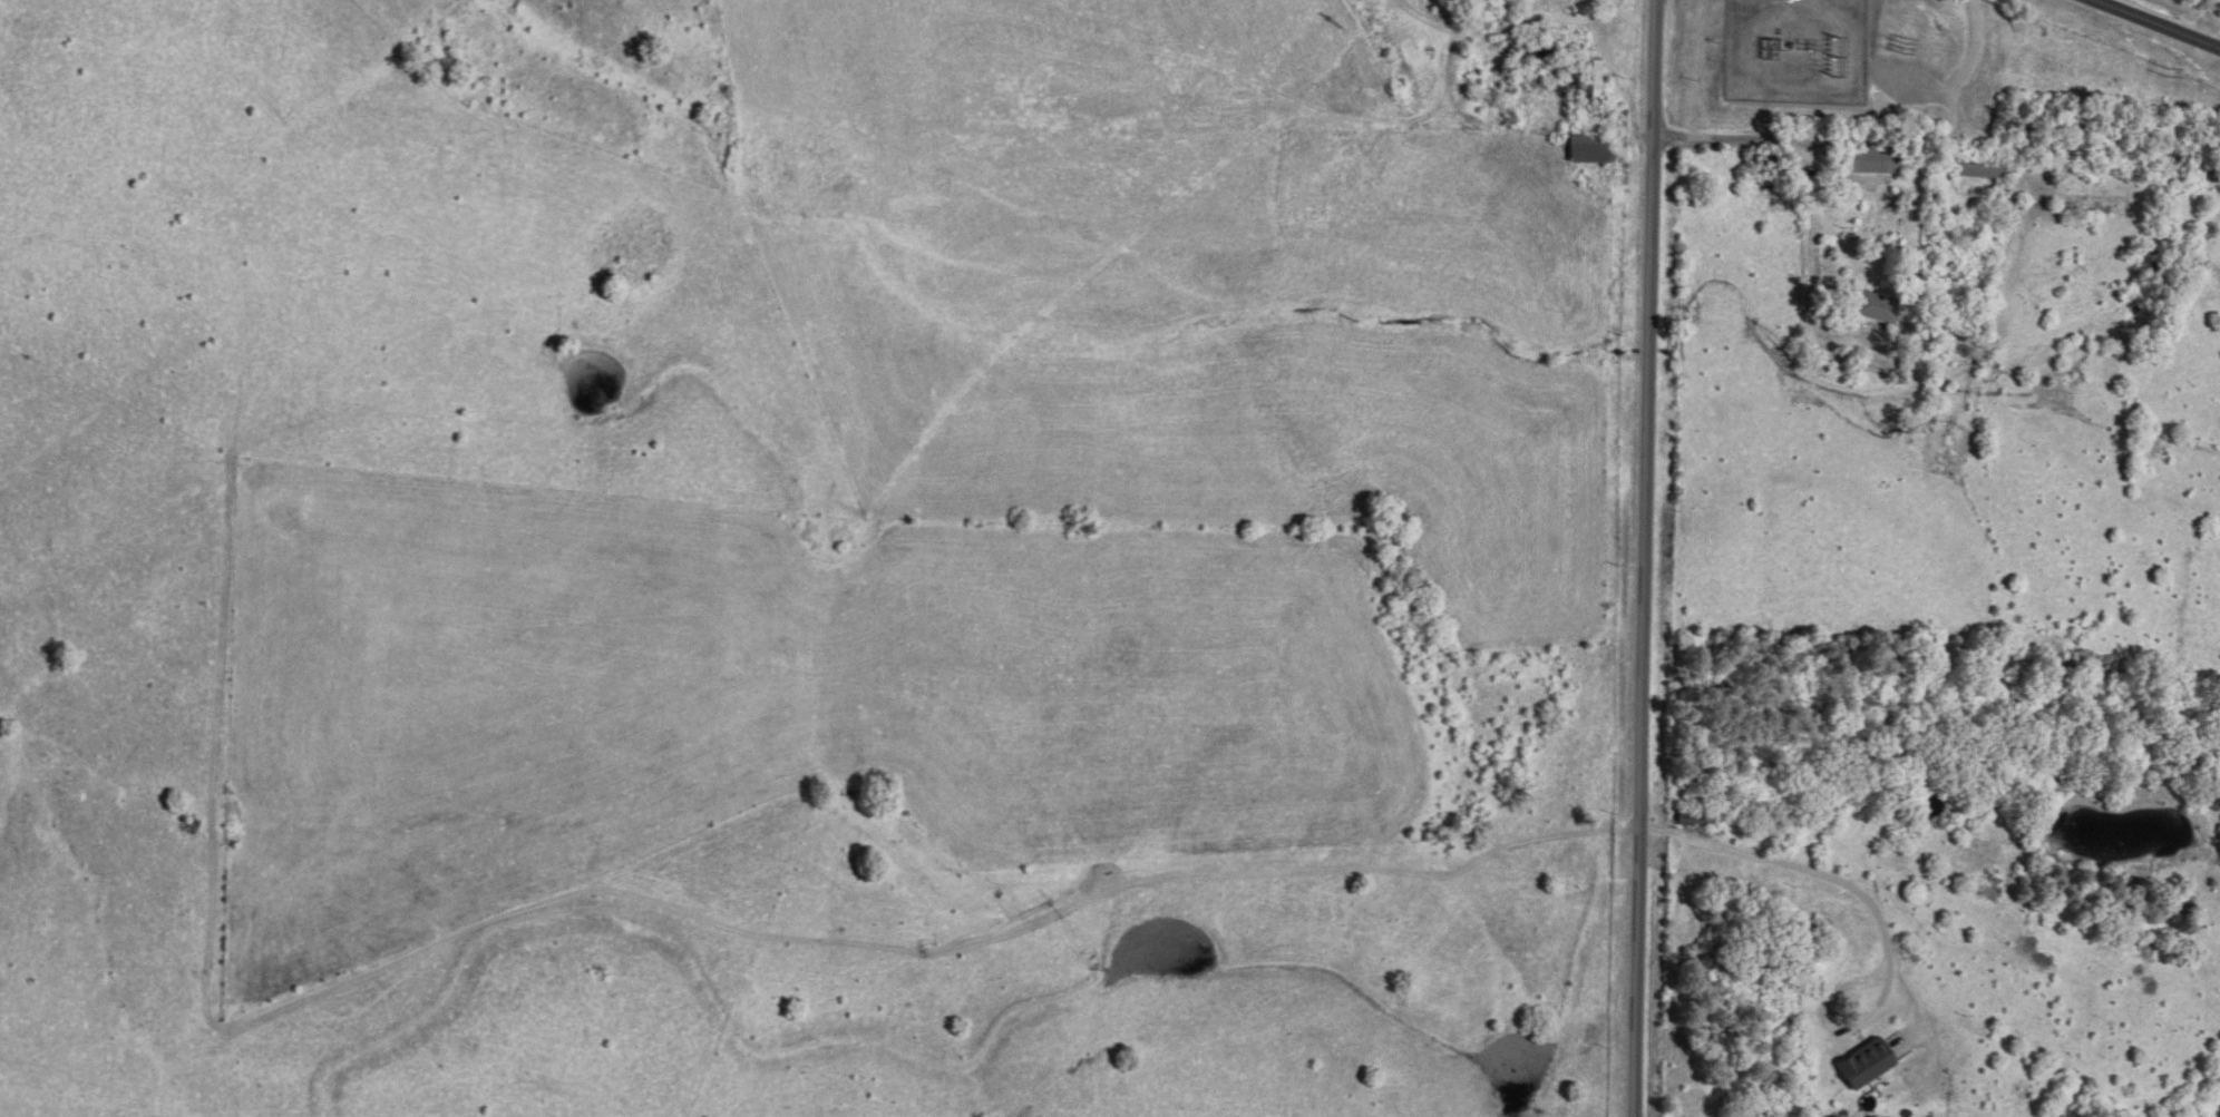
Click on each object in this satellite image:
road: (2156, 23)
building: (1593, 78)
road: (1936, 136)
building: (1590, 150)
building: (1877, 167)
building: (1984, 167)
building: (1774, 176)
building: (1879, 312)
road: (1643, 558)
building: (1691, 816)
building: (1862, 1061)

